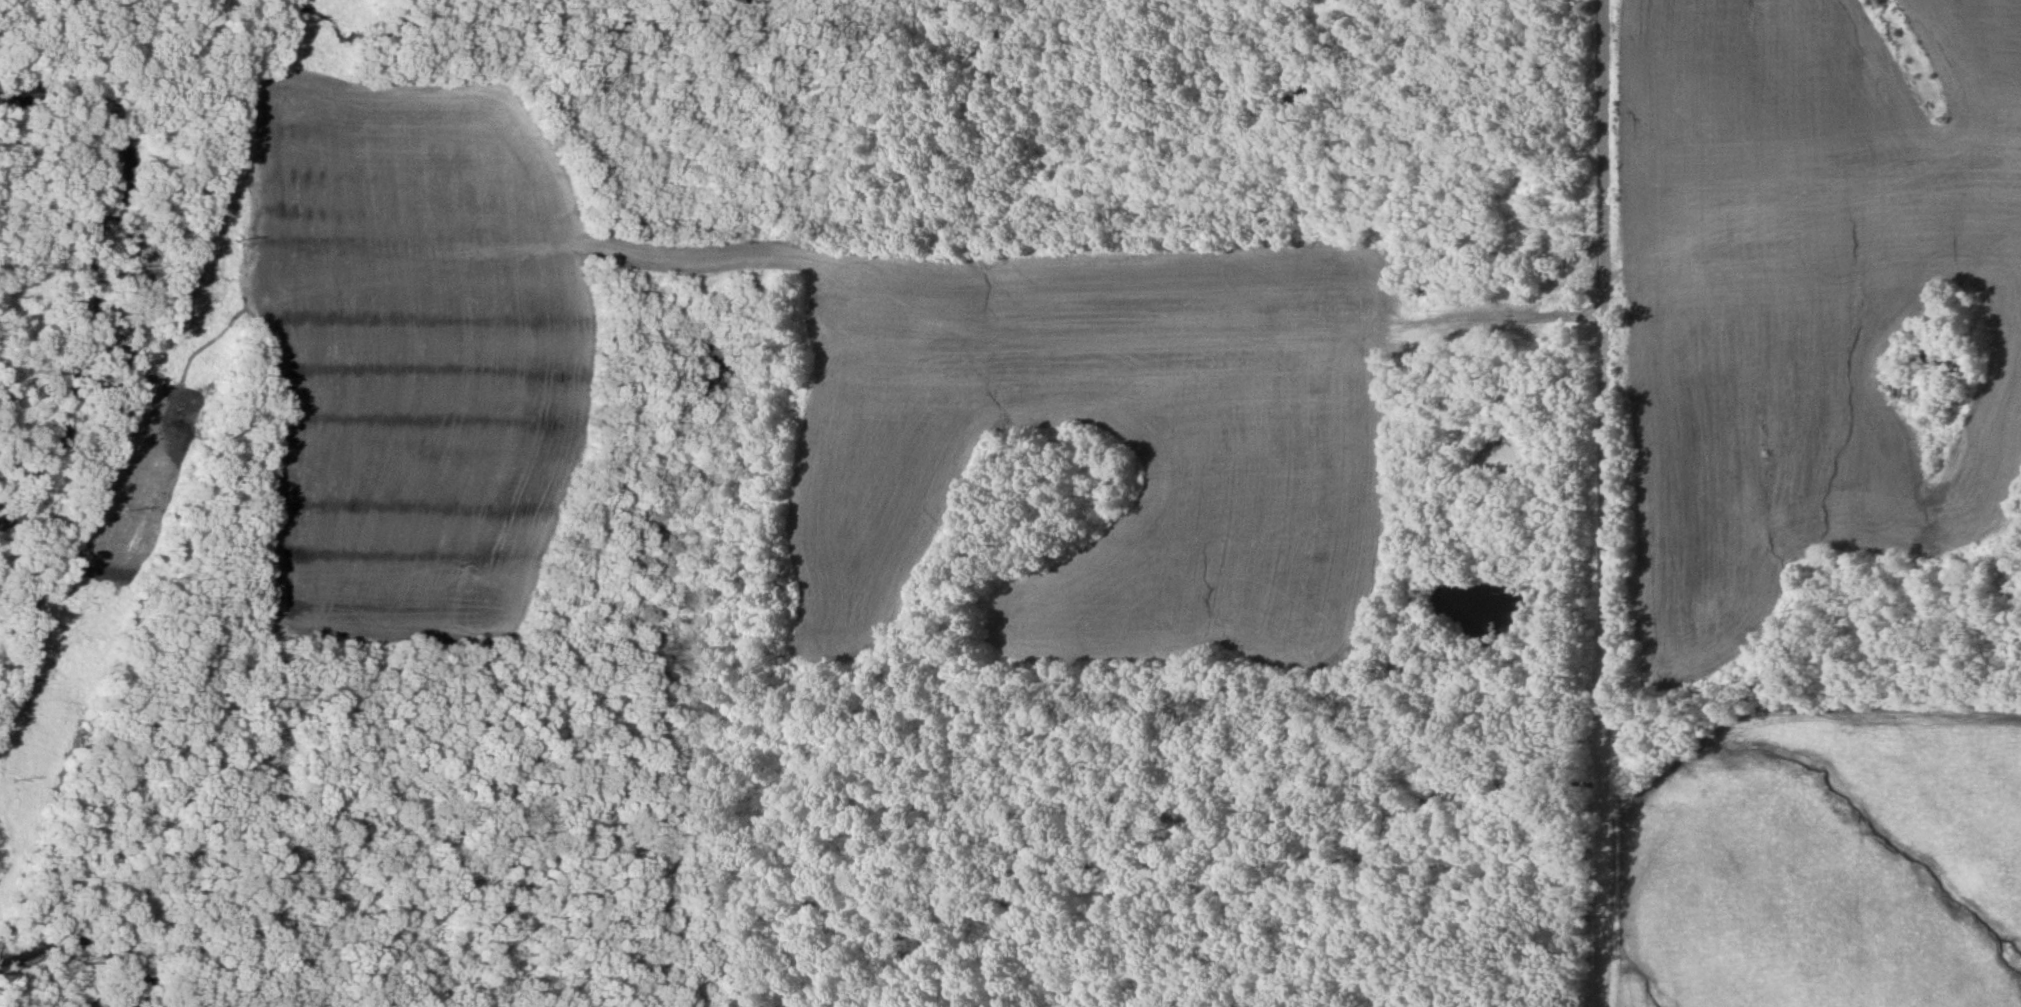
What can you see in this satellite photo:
road: (1603, 503)

